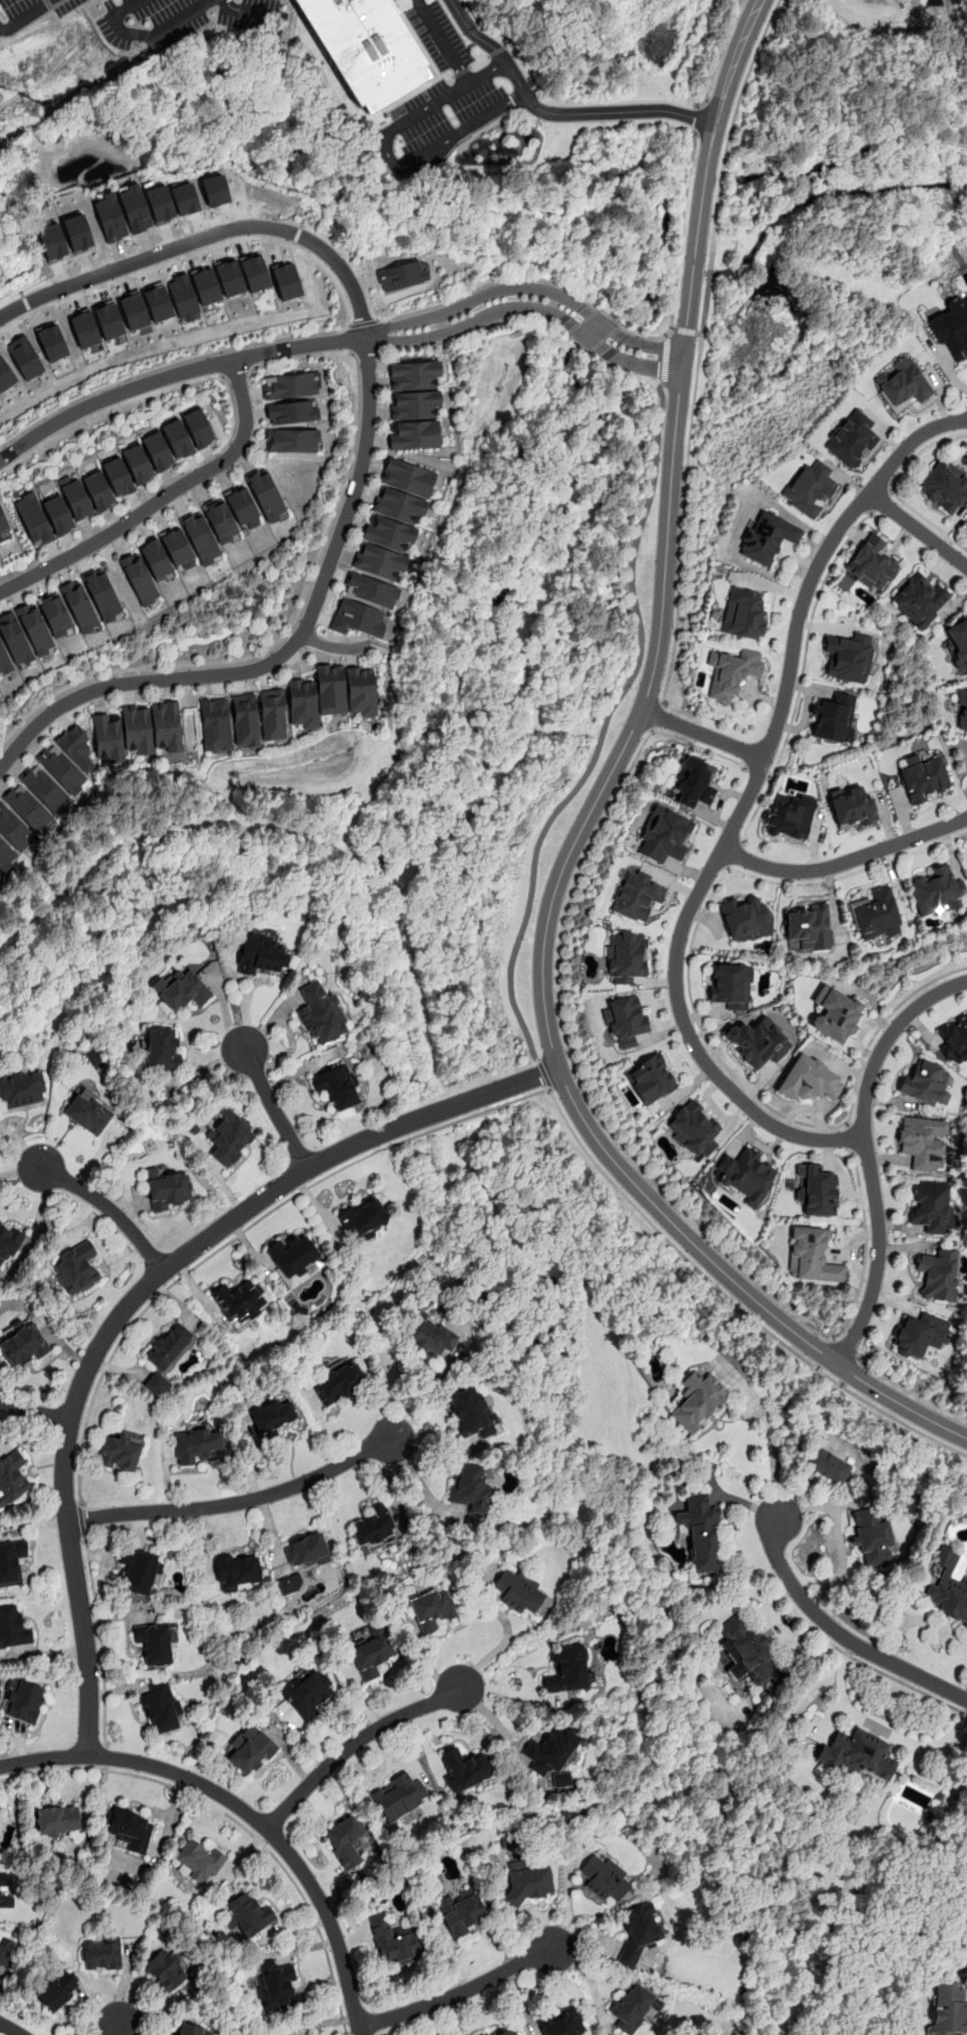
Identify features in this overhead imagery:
road: (123, 8)
road: (26, 15)
parking lot: (150, 20)
road: (156, 30)
road: (443, 41)
building: (366, 47)
road: (480, 60)
parking lot: (447, 89)
road: (645, 100)
road: (557, 114)
road: (699, 117)
road: (729, 133)
park: (837, 147)
road: (388, 156)
building: (158, 202)
road: (793, 203)
building: (135, 208)
building: (110, 217)
building: (77, 232)
road: (207, 235)
building: (51, 241)
road: (192, 256)
road: (677, 257)
building: (254, 272)
building: (401, 275)
building: (229, 277)
building: (286, 281)
building: (206, 285)
road: (485, 285)
building: (184, 294)
road: (476, 297)
building: (158, 302)
building: (134, 310)
road: (608, 317)
building: (109, 319)
road: (364, 321)
road: (470, 323)
road: (604, 325)
building: (951, 327)
building: (84, 328)
road: (684, 331)
road: (667, 333)
road: (351, 338)
road: (586, 338)
building: (51, 340)
road: (652, 346)
building: (25, 357)
road: (663, 360)
road: (221, 363)
road: (641, 364)
road: (169, 366)
building: (5, 376)
building: (414, 376)
building: (901, 384)
building: (289, 386)
building: (415, 404)
building: (292, 412)
building: (199, 428)
building: (414, 435)
building: (178, 438)
building: (851, 439)
building: (292, 441)
building: (157, 451)
building: (138, 464)
road: (360, 467)
building: (118, 476)
building: (408, 476)
building: (944, 485)
building: (808, 487)
road: (891, 487)
building: (99, 491)
road: (148, 495)
building: (75, 496)
building: (265, 496)
road: (160, 499)
road: (880, 499)
building: (399, 505)
building: (243, 508)
building: (58, 515)
building: (33, 518)
road: (683, 519)
building: (220, 520)
building: (3, 523)
road: (918, 528)
building: (389, 532)
building: (765, 537)
building: (200, 538)
building: (177, 547)
building: (156, 559)
building: (379, 560)
building: (873, 564)
building: (139, 578)
building: (371, 589)
building: (102, 593)
building: (919, 601)
building: (79, 605)
building: (55, 613)
building: (743, 613)
building: (356, 619)
building: (35, 628)
building: (14, 639)
road: (279, 643)
building: (959, 643)
road: (334, 647)
building: (849, 656)
building: (4, 660)
building: (730, 672)
road: (802, 674)
building: (331, 688)
building: (360, 690)
building: (303, 702)
building: (962, 711)
building: (272, 713)
road: (657, 714)
building: (833, 717)
building: (245, 719)
building: (215, 724)
building: (166, 725)
building: (137, 728)
road: (602, 729)
road: (703, 733)
building: (108, 736)
building: (76, 745)
building: (62, 769)
road: (758, 774)
building: (924, 778)
building: (693, 782)
building: (45, 788)
road: (744, 804)
building: (851, 806)
building: (28, 808)
road: (591, 808)
building: (790, 815)
building: (13, 828)
building: (664, 835)
road: (734, 853)
building: (5, 855)
road: (845, 860)
building: (966, 864)
building: (936, 892)
building: (637, 896)
building: (876, 915)
building: (745, 918)
building: (808, 927)
building: (262, 954)
building: (626, 957)
building: (729, 985)
building: (181, 989)
building: (835, 1013)
building: (321, 1014)
road: (696, 1018)
building: (625, 1020)
building: (954, 1039)
road: (886, 1040)
building: (759, 1041)
building: (161, 1049)
road: (552, 1054)
road: (545, 1073)
building: (650, 1078)
building: (806, 1078)
road: (563, 1081)
building: (925, 1084)
building: (337, 1085)
building: (21, 1088)
road: (495, 1106)
road: (276, 1108)
building: (87, 1113)
road: (600, 1115)
building: (694, 1128)
building: (229, 1137)
road: (849, 1137)
building: (921, 1142)
building: (745, 1175)
building: (167, 1188)
building: (816, 1189)
building: (930, 1206)
road: (106, 1207)
building: (362, 1217)
building: (8, 1241)
road: (877, 1255)
building: (811, 1256)
building: (294, 1257)
building: (76, 1268)
building: (938, 1274)
road: (138, 1293)
building: (240, 1299)
building: (921, 1334)
building: (430, 1336)
building: (22, 1343)
road: (842, 1347)
building: (166, 1356)
building: (339, 1383)
road: (910, 1391)
building: (695, 1400)
building: (472, 1412)
road: (35, 1413)
building: (272, 1416)
road: (769, 1429)
building: (200, 1444)
building: (119, 1452)
building: (828, 1465)
building: (12, 1478)
building: (472, 1489)
road: (234, 1503)
road: (83, 1517)
building: (373, 1526)
building: (701, 1533)
building: (872, 1538)
building: (306, 1550)
building: (11, 1561)
building: (140, 1570)
building: (238, 1571)
building: (291, 1583)
building: (946, 1587)
building: (518, 1592)
building: (433, 1609)
road: (918, 1621)
building: (13, 1627)
road: (836, 1631)
road: (506, 1634)
road: (99, 1637)
building: (154, 1641)
building: (748, 1651)
building: (370, 1652)
road: (854, 1656)
building: (568, 1670)
road: (519, 1672)
building: (307, 1692)
road: (507, 1693)
road: (966, 1696)
building: (24, 1698)
building: (161, 1707)
road: (878, 1727)
road: (352, 1745)
building: (250, 1748)
building: (552, 1753)
building: (860, 1755)
road: (103, 1757)
building: (464, 1769)
building: (398, 1797)
road: (245, 1810)
road: (235, 1820)
building: (58, 1821)
building: (128, 1828)
building: (345, 1840)
building: (197, 1862)
building: (603, 1876)
building: (529, 1881)
building: (0, 1891)
road: (567, 1897)
building: (461, 1910)
building: (247, 1914)
building: (639, 1933)
building: (396, 1941)
building: (4, 1949)
building: (100, 1953)
building: (163, 1969)
road: (589, 1978)
building: (276, 1985)
building: (56, 1989)
road: (457, 1992)
building: (634, 2007)
building: (948, 2010)
building: (562, 2022)
road: (10, 2028)
road: (115, 2028)
building: (192, 2029)
building: (508, 2032)
building: (308, 2034)

